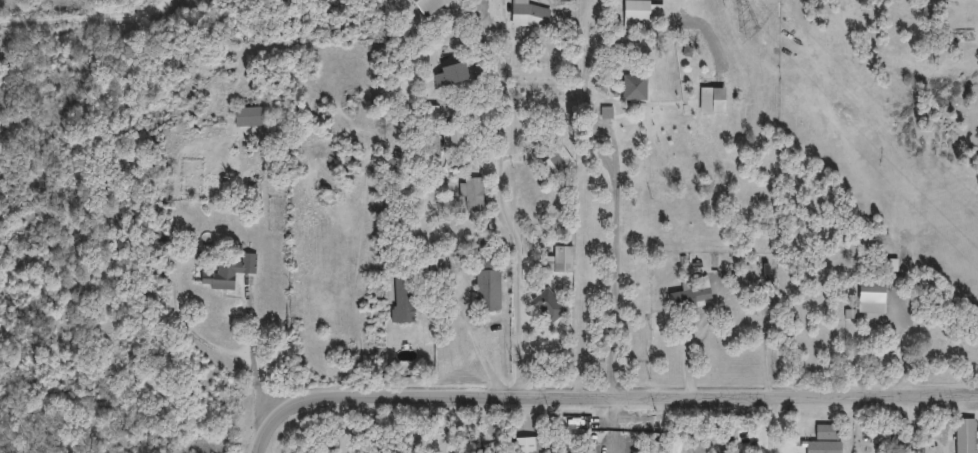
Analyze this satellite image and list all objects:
building: (427, 6)
building: (528, 17)
building: (634, 17)
road: (83, 20)
building: (959, 24)
power tower: (747, 29)
building: (449, 75)
building: (632, 88)
building: (716, 100)
building: (248, 116)
building: (556, 162)
building: (472, 195)
road: (508, 226)
building: (561, 258)
road: (617, 261)
building: (226, 272)
road: (737, 278)
building: (487, 284)
building: (690, 292)
building: (868, 296)
building: (402, 298)
building: (547, 305)
road: (248, 334)
road: (475, 334)
road: (208, 343)
building: (944, 350)
road: (600, 396)
road: (615, 424)
road: (680, 424)
road: (784, 424)
road: (341, 426)
building: (963, 436)
building: (822, 440)
building: (362, 444)
building: (528, 444)
building: (727, 450)

